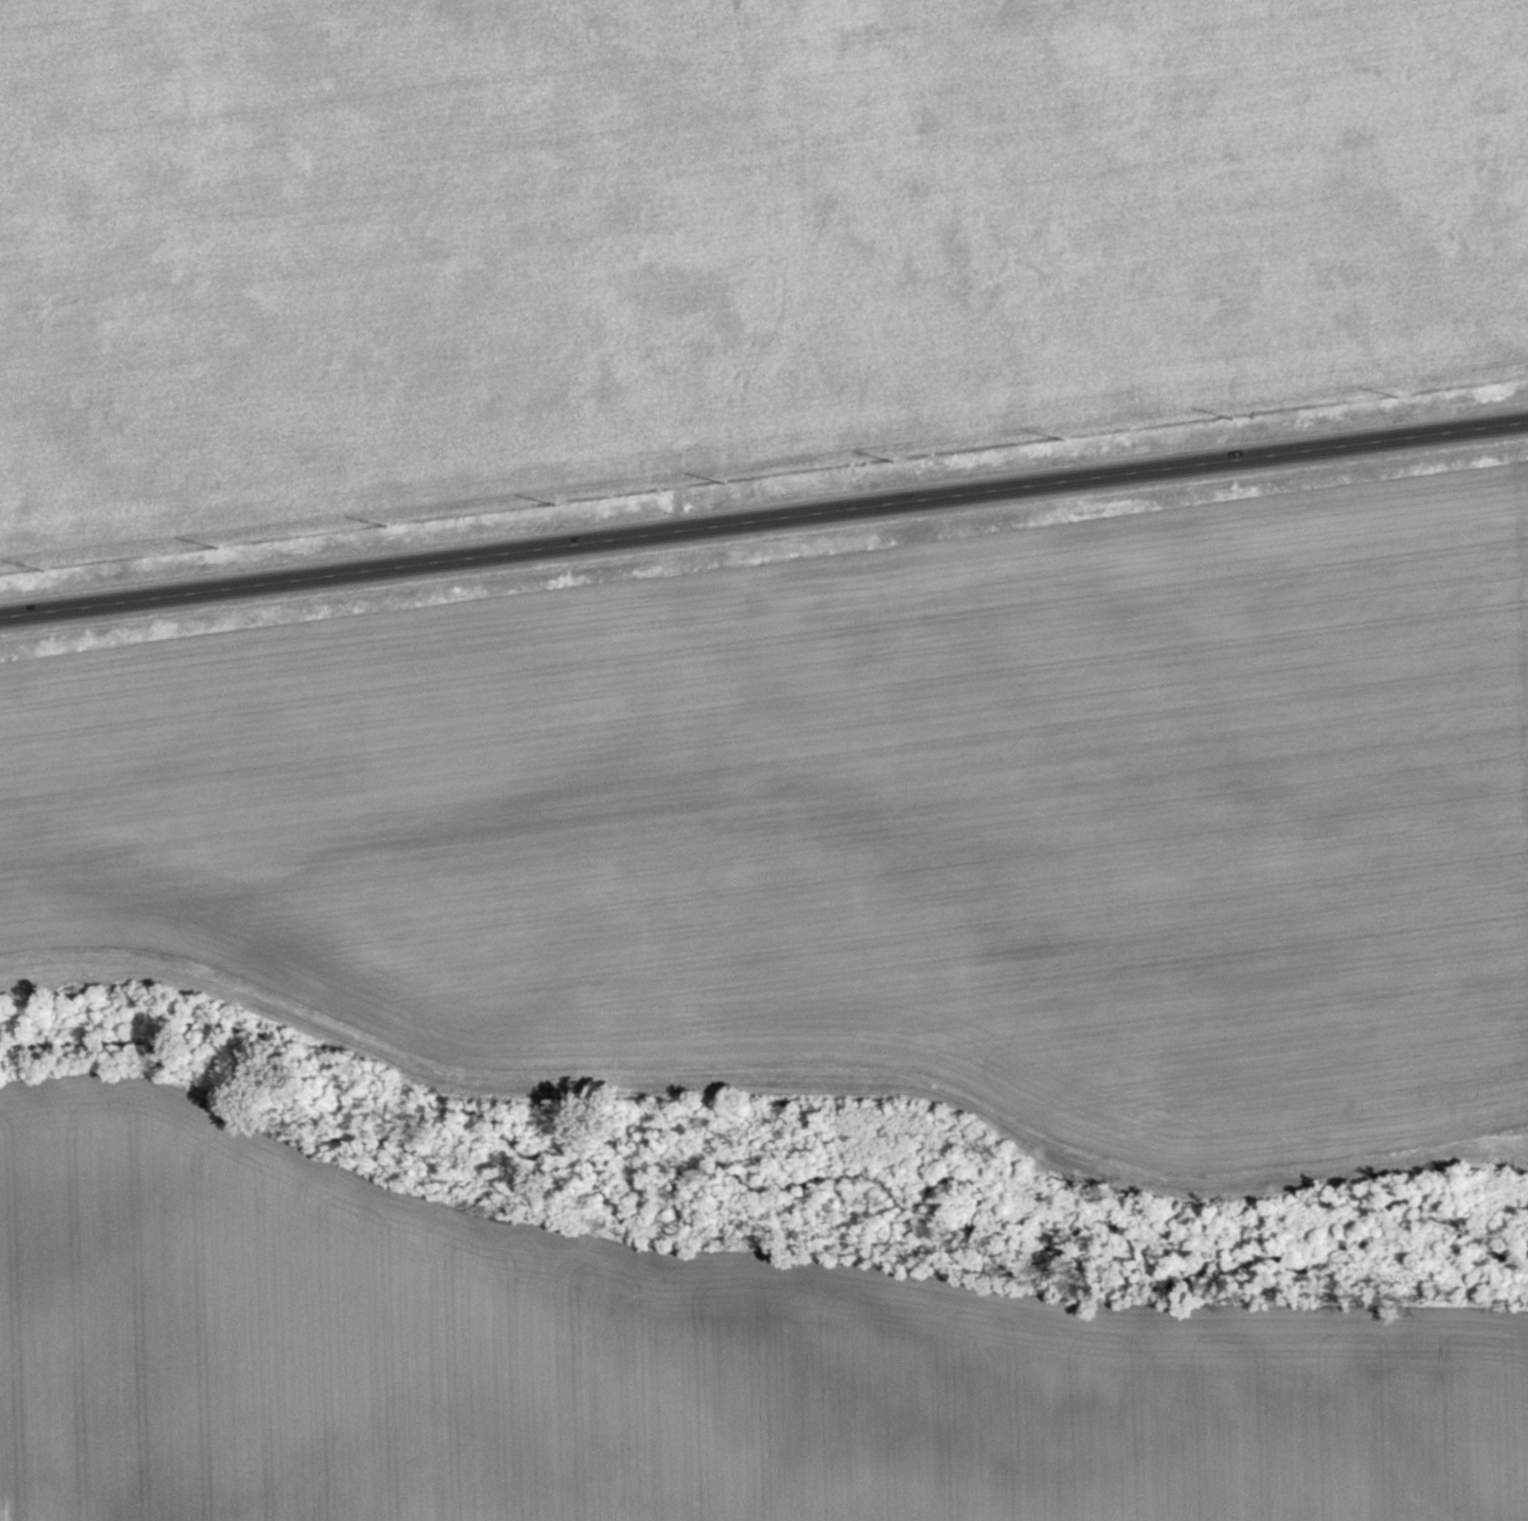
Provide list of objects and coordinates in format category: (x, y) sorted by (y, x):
road: (764, 519)

